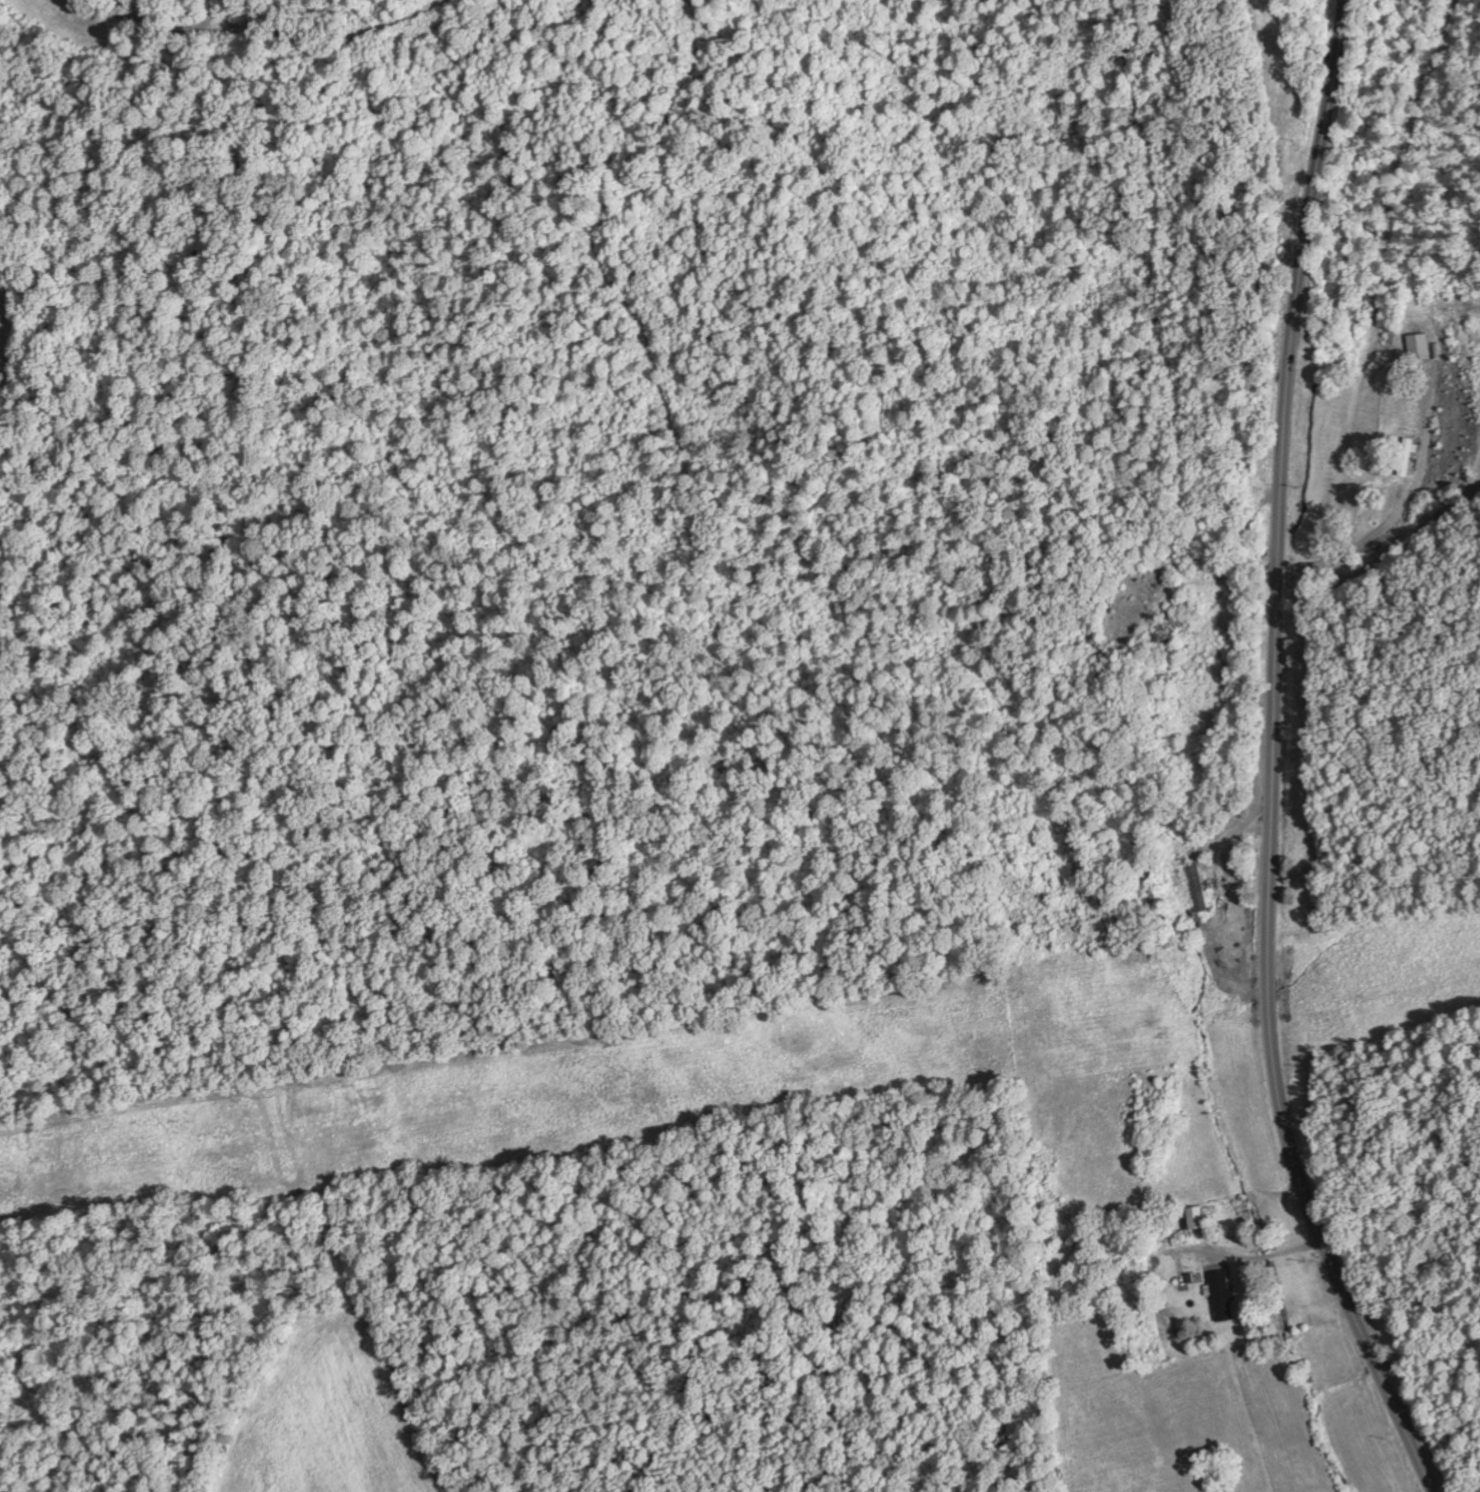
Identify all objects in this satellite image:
road: (1272, 759)
building: (1196, 886)
building: (1196, 1217)
building: (1221, 1295)

